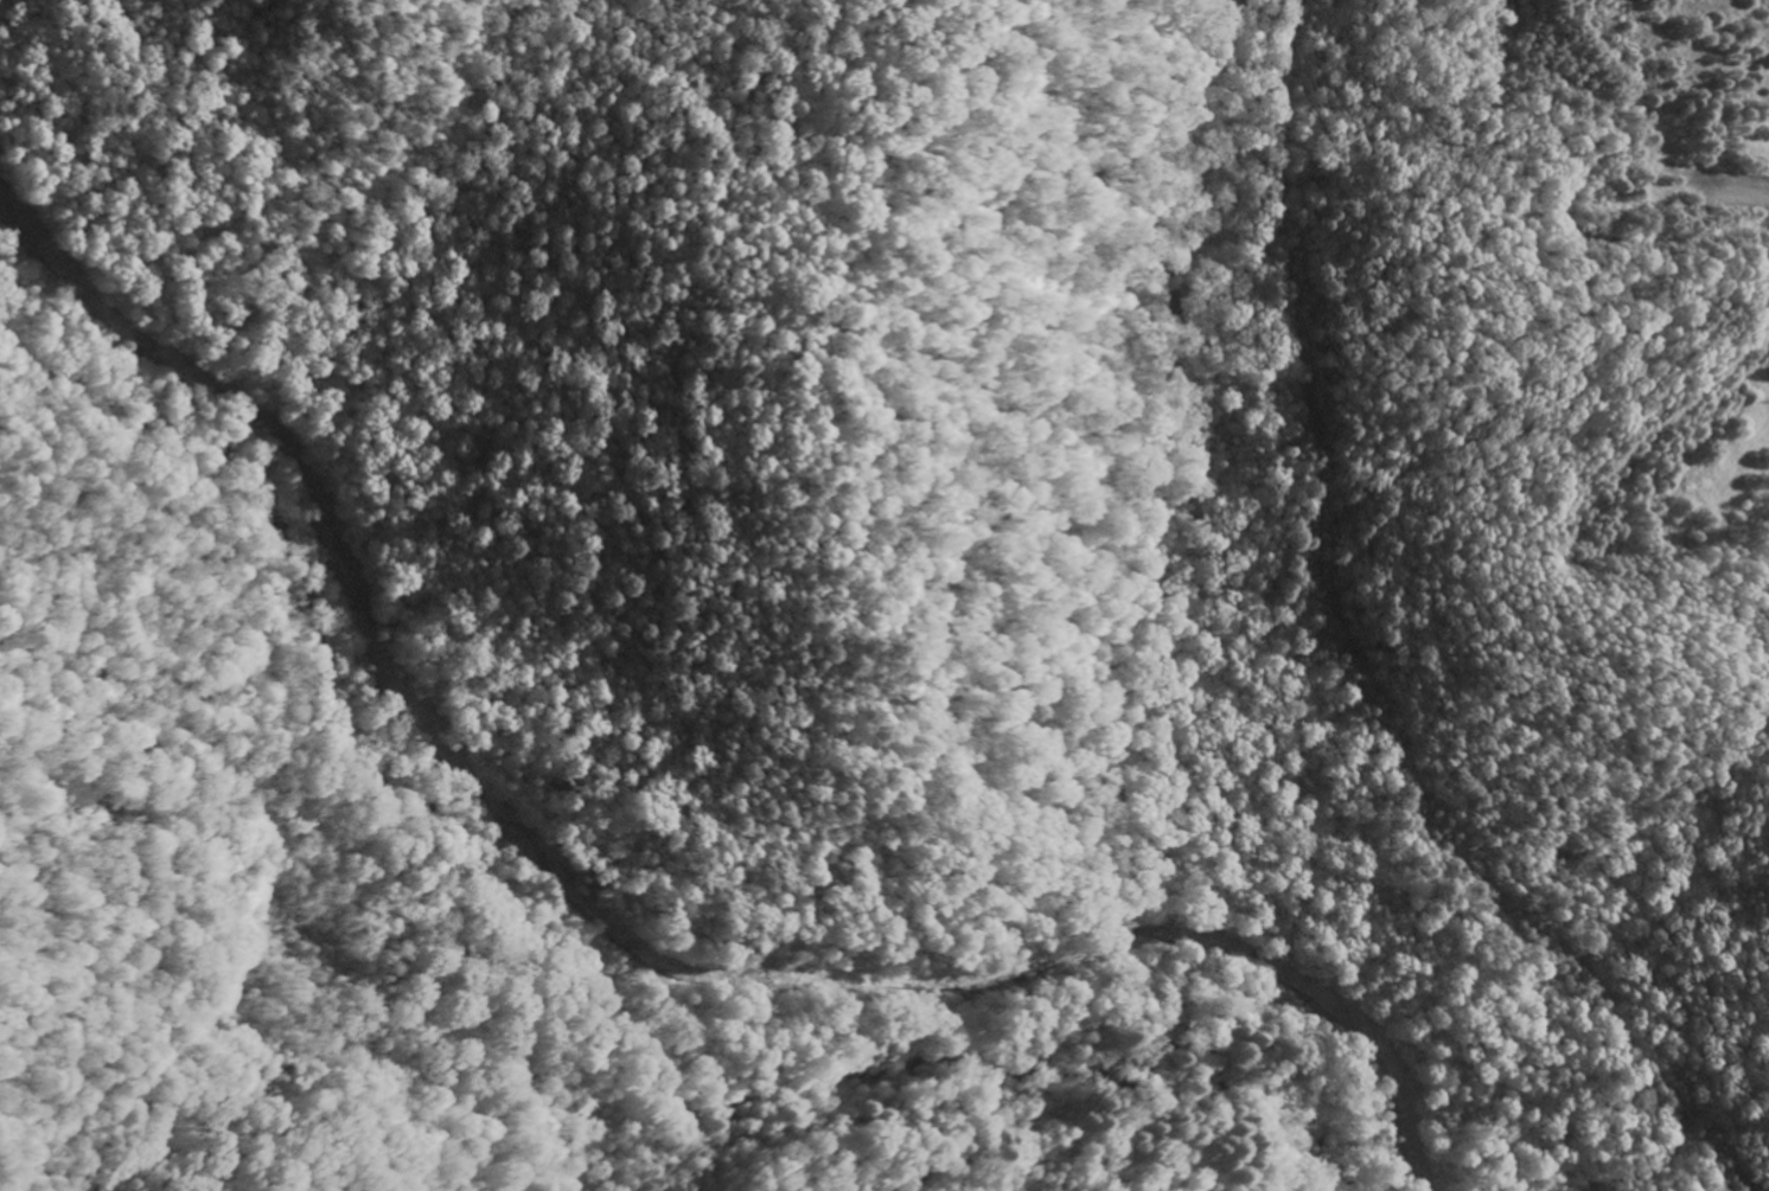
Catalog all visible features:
road: (173, 351)
road: (307, 559)
road: (1013, 870)
road: (247, 940)

